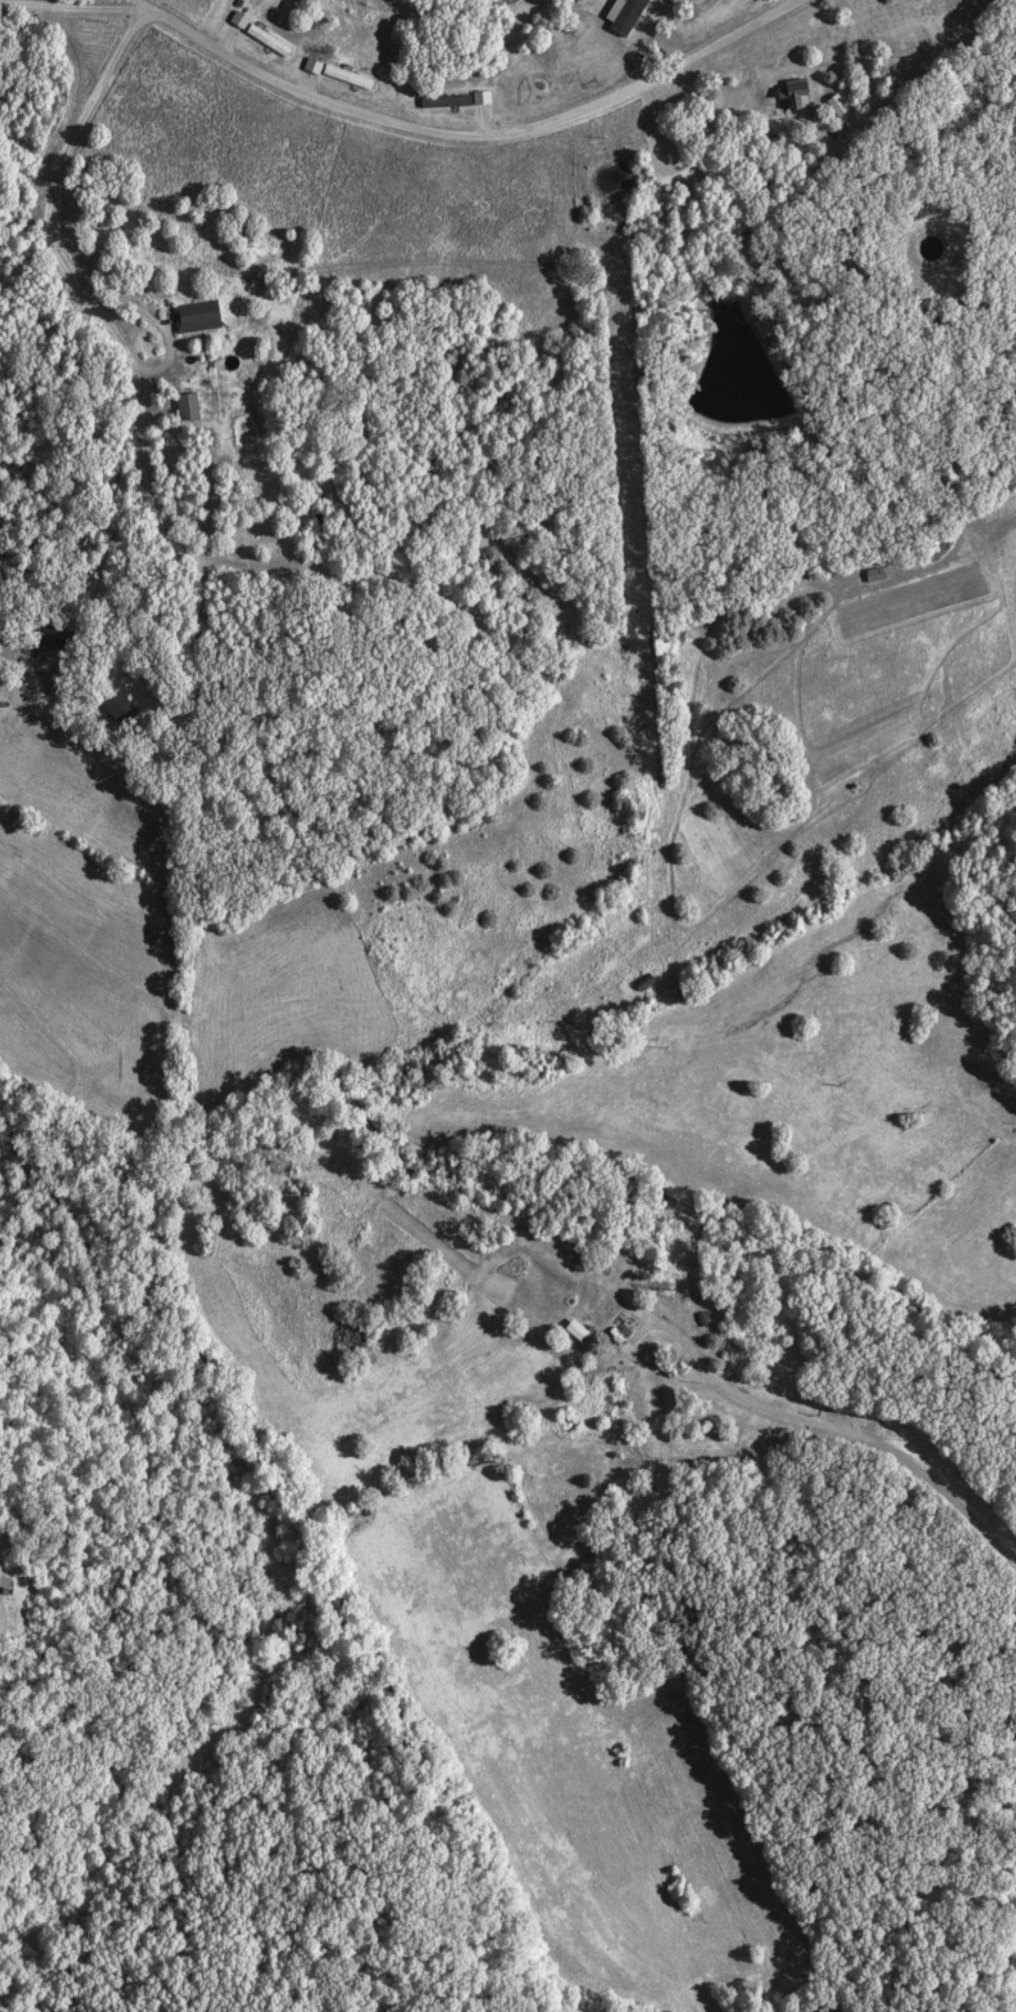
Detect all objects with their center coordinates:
road: (141, 6)
road: (75, 7)
building: (620, 16)
building: (264, 41)
building: (344, 78)
building: (442, 102)
road: (478, 133)
road: (847, 133)
road: (47, 237)
building: (194, 318)
building: (183, 408)
building: (248, 532)
building: (117, 707)
building: (641, 985)

